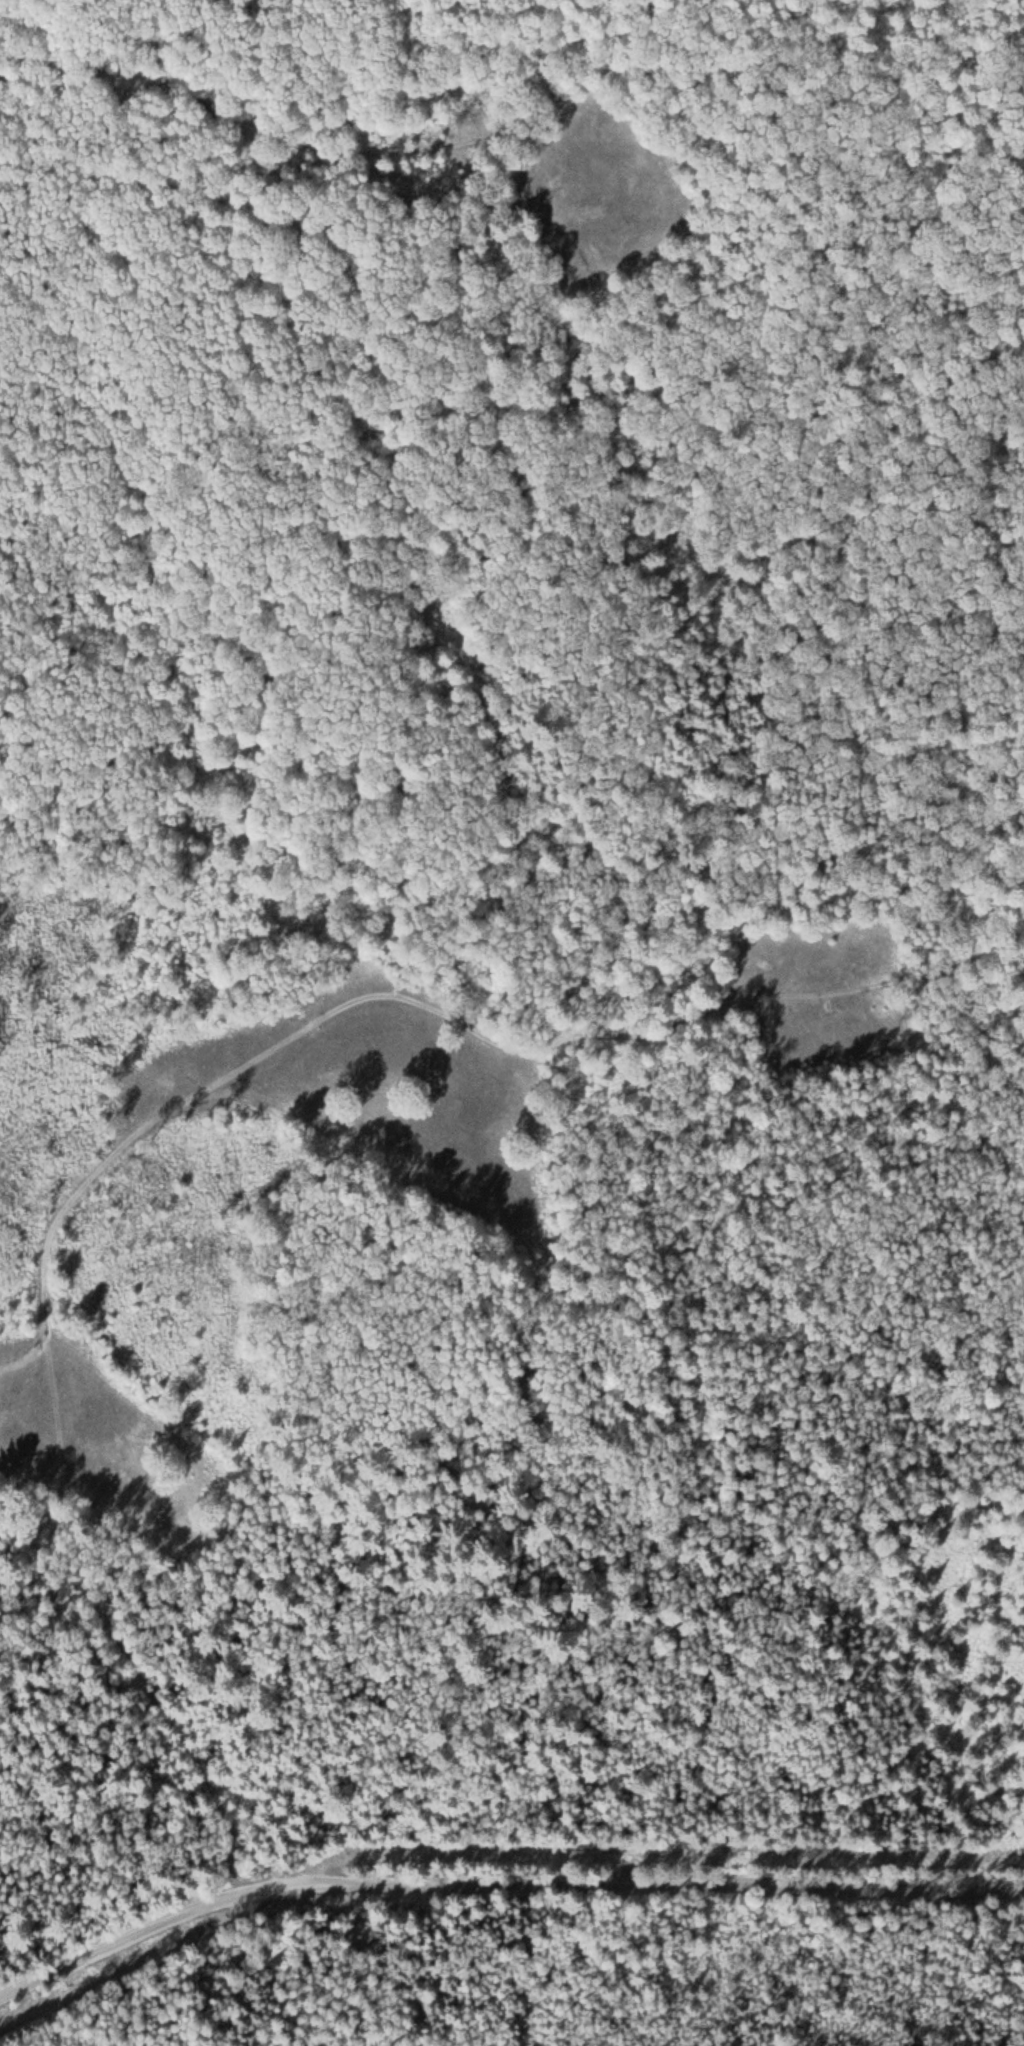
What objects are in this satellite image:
road: (500, 1887)

